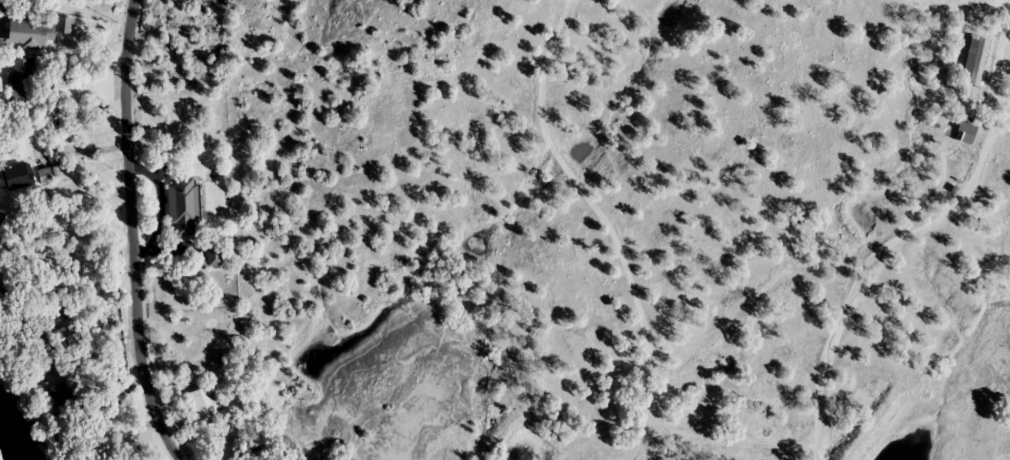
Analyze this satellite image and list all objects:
building: (36, 32)
building: (976, 60)
building: (22, 80)
building: (64, 91)
building: (966, 133)
road: (60, 148)
building: (48, 175)
building: (16, 177)
building: (185, 205)
road: (129, 233)
road: (648, 249)
building: (215, 255)
building: (65, 340)
building: (63, 396)
building: (206, 405)
building: (87, 449)

